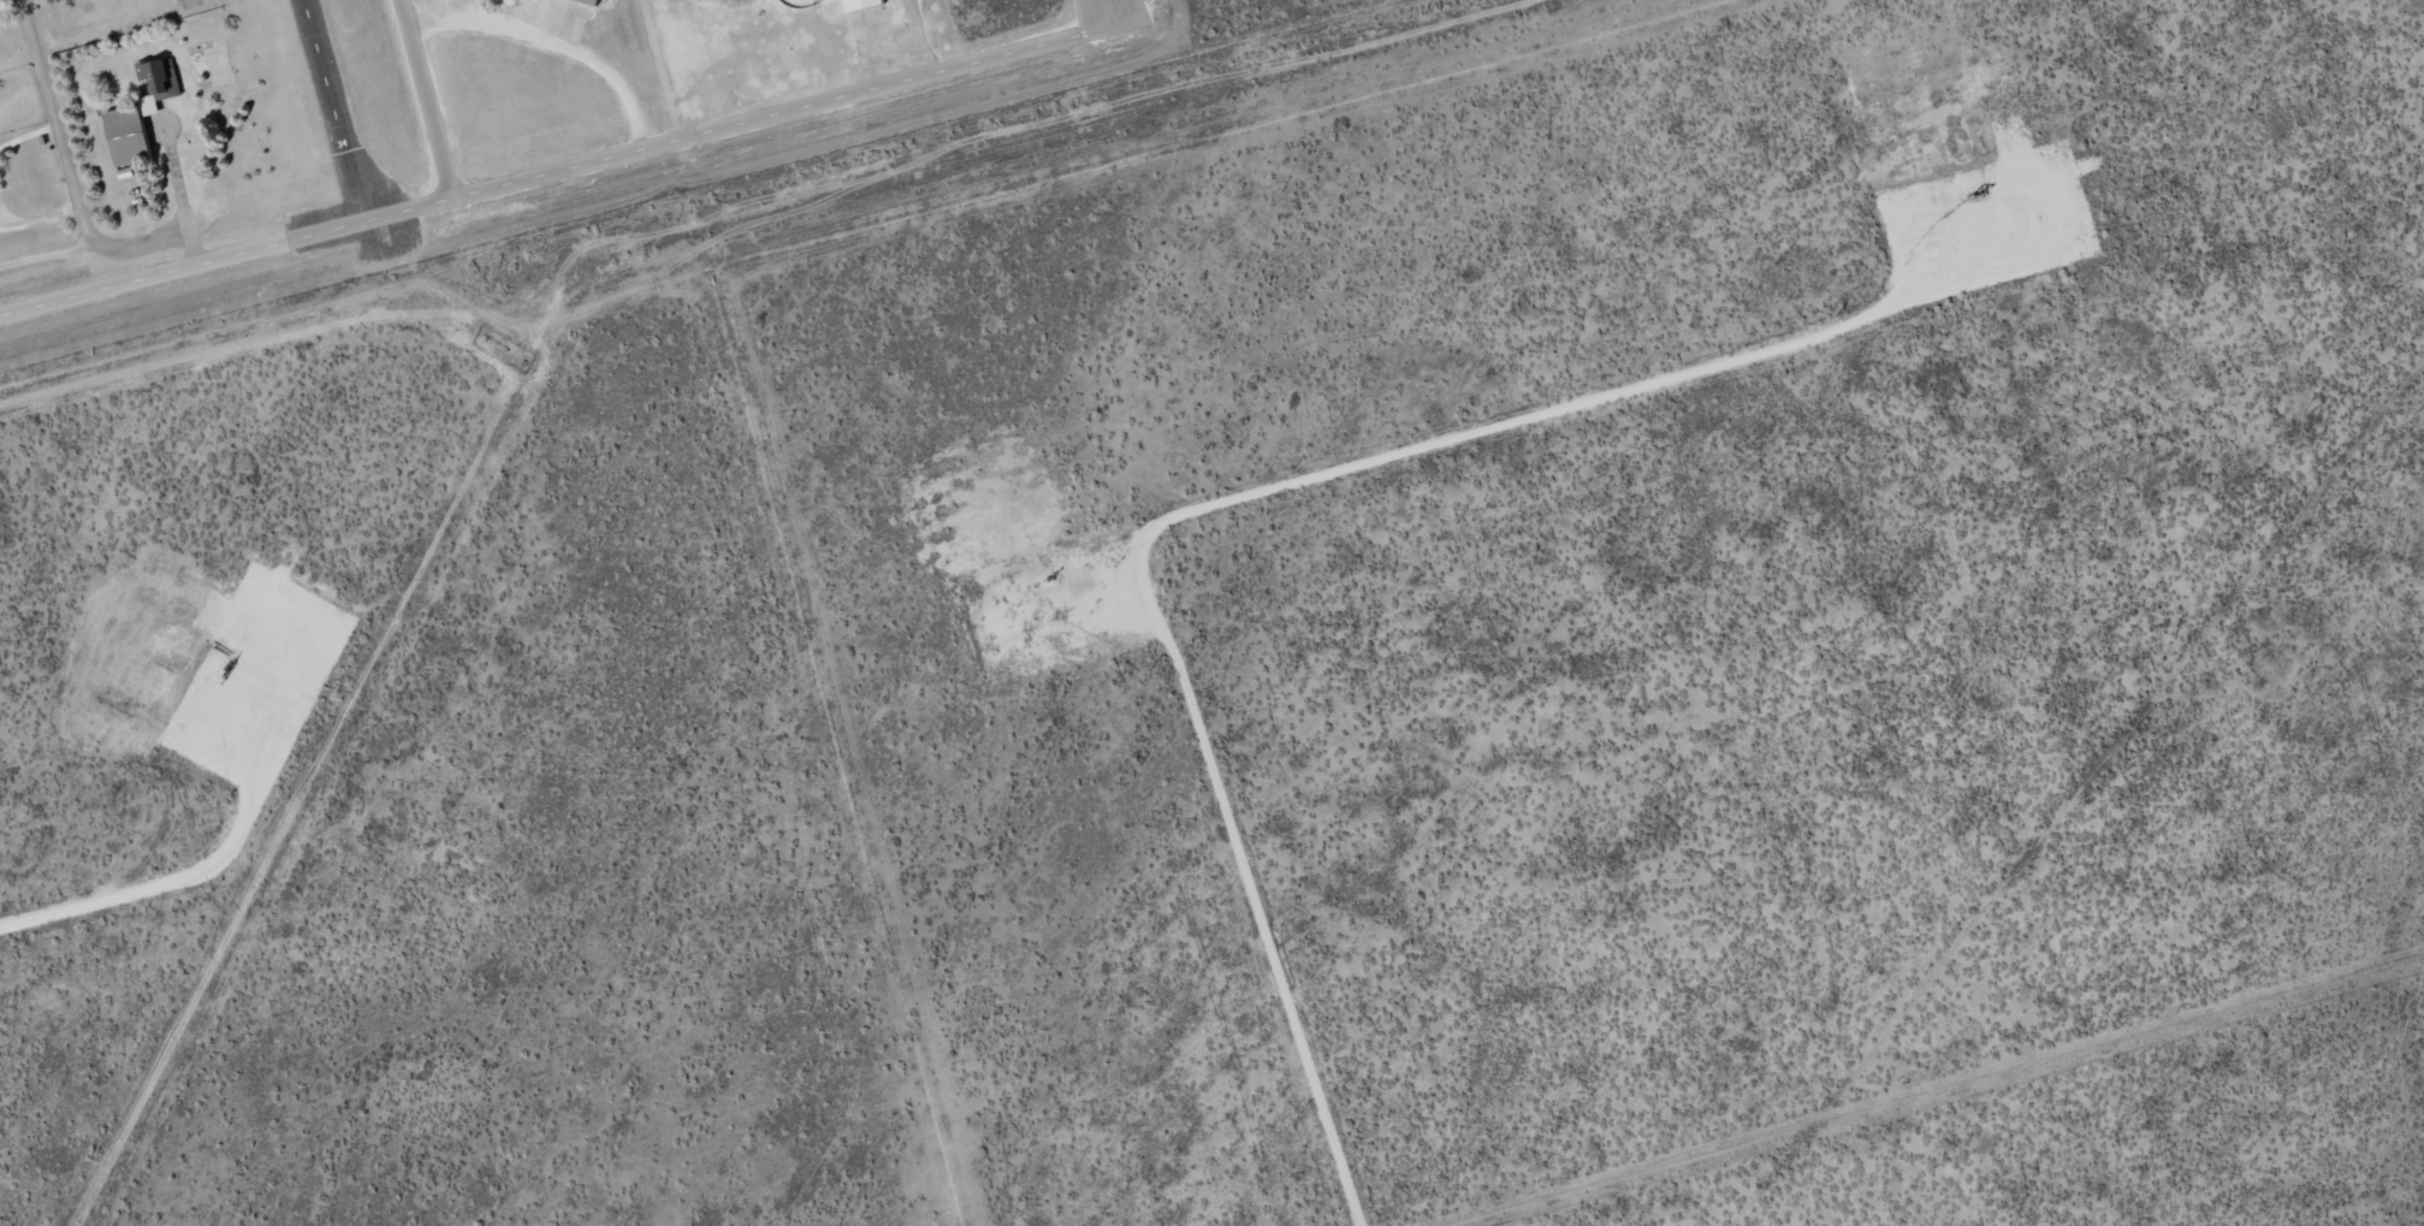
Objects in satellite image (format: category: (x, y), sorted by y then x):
building: (537, 0)
building: (592, 1)
building: (861, 4)
airport runway: (315, 69)
airport: (469, 69)
road: (658, 71)
building: (140, 114)
road: (58, 138)
road: (515, 183)

